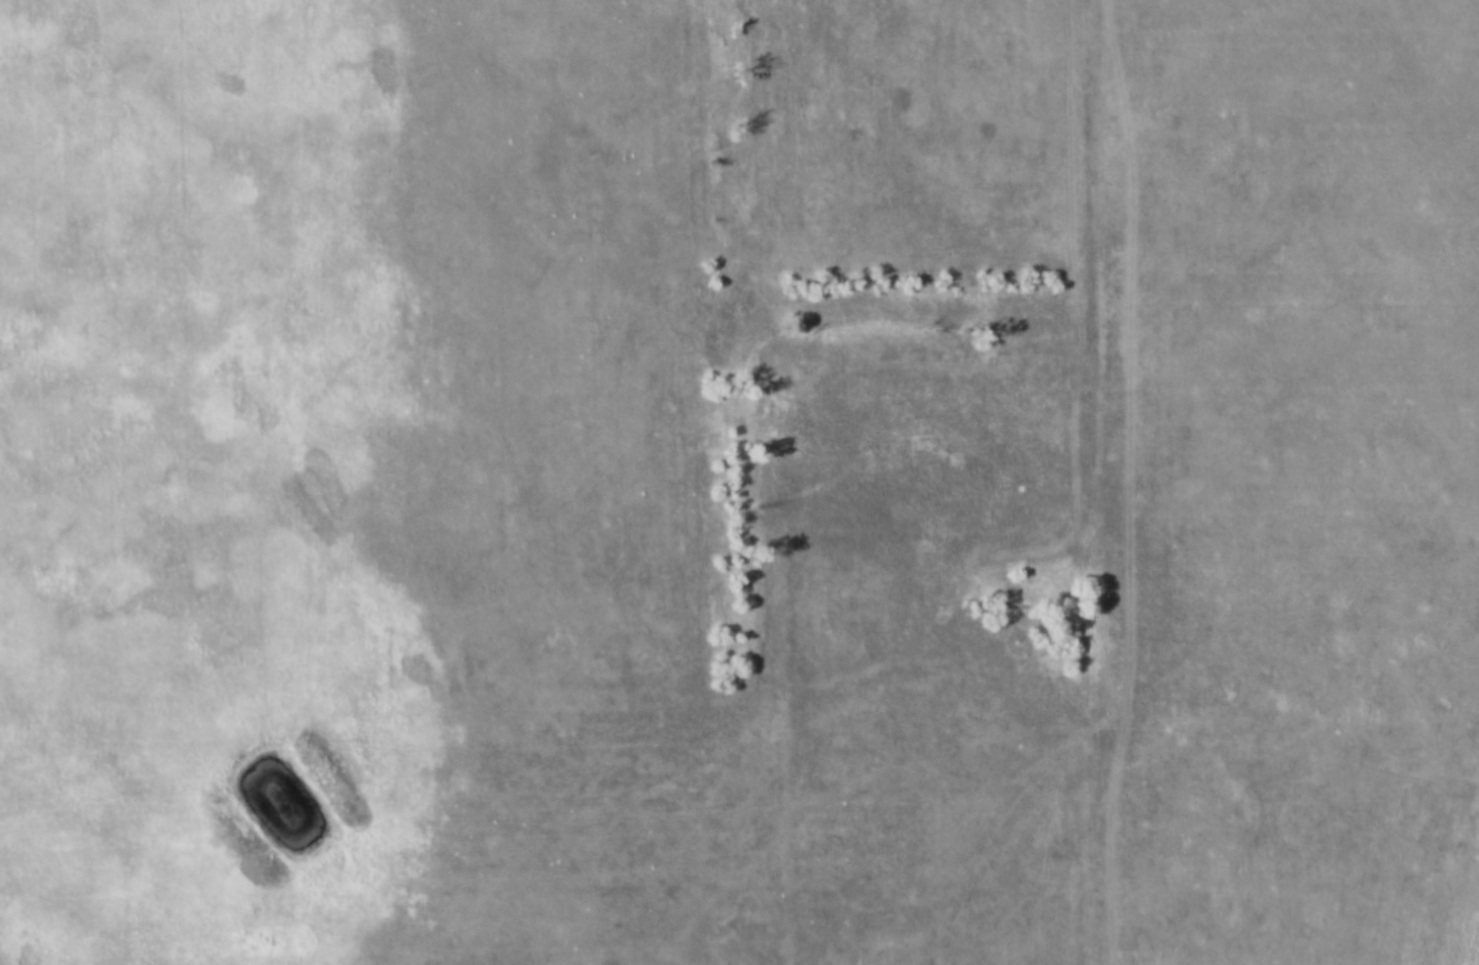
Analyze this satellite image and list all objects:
road: (1130, 483)

